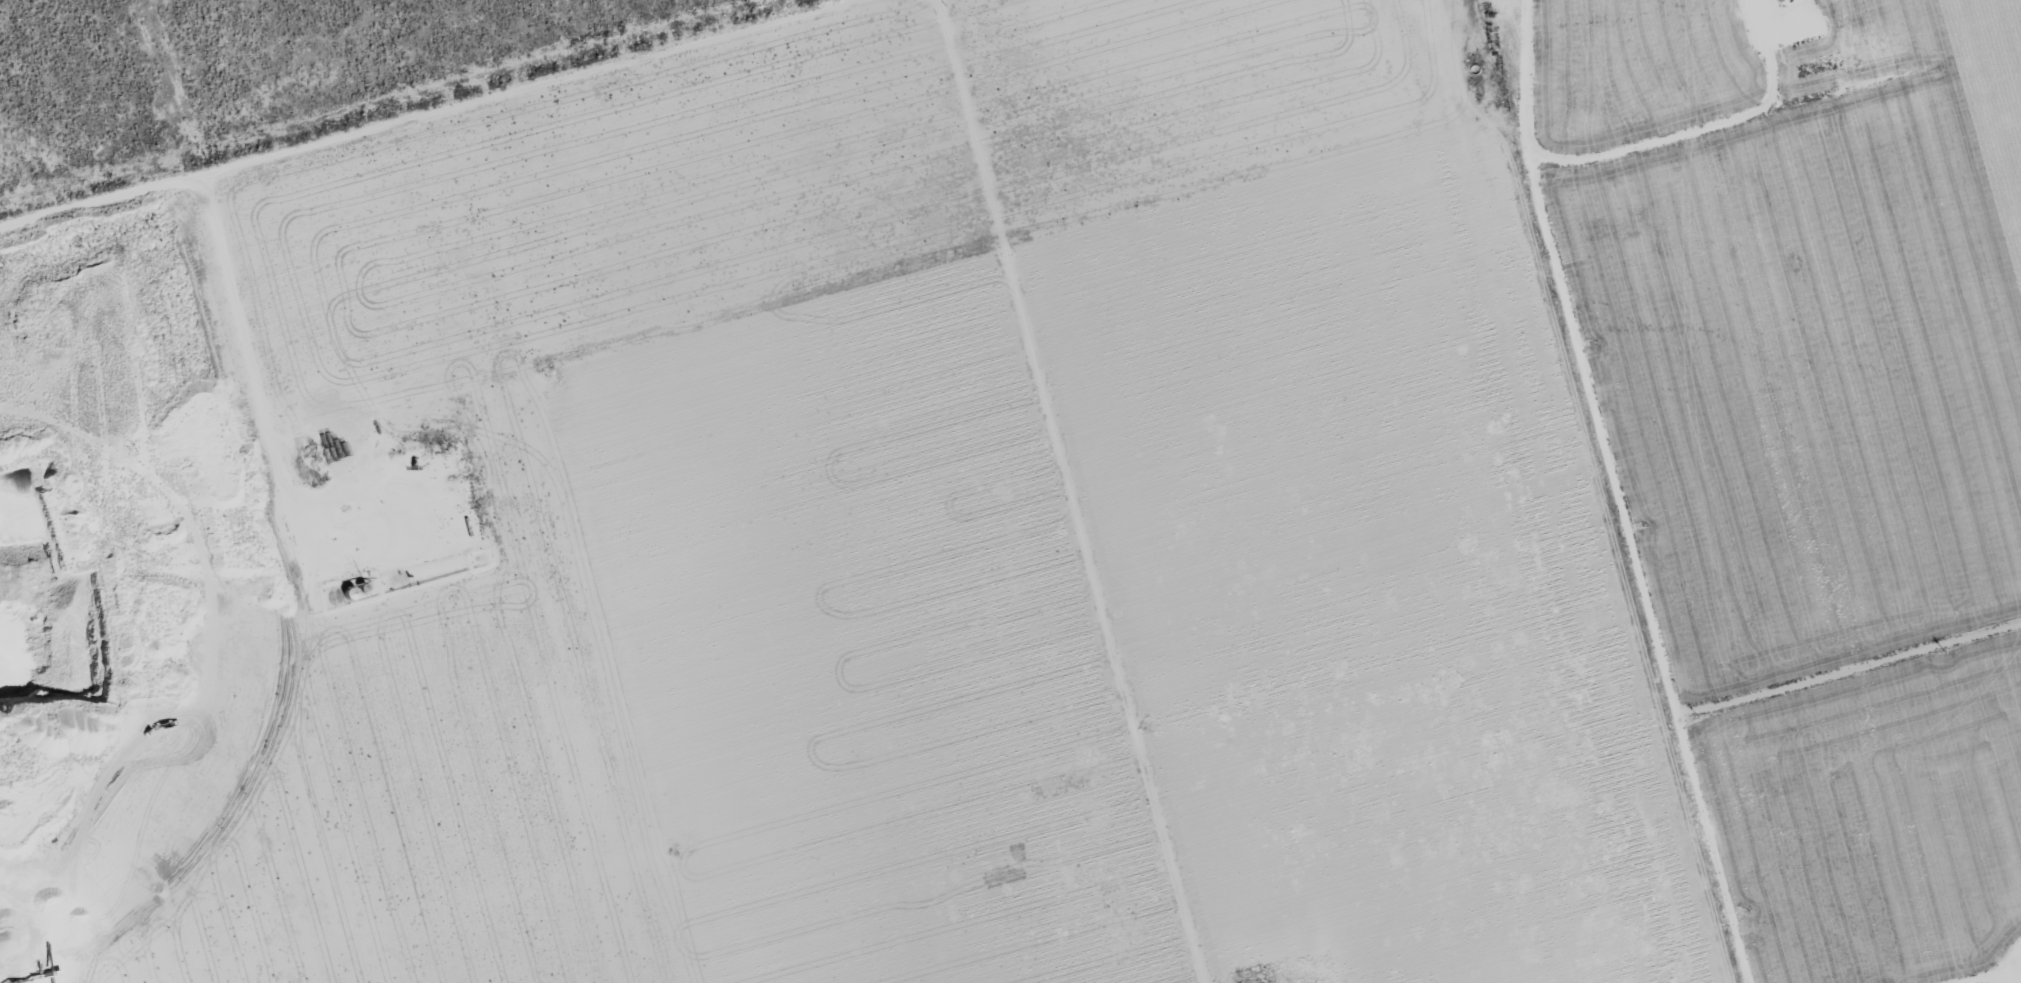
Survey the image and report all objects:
road: (444, 121)
road: (957, 491)

